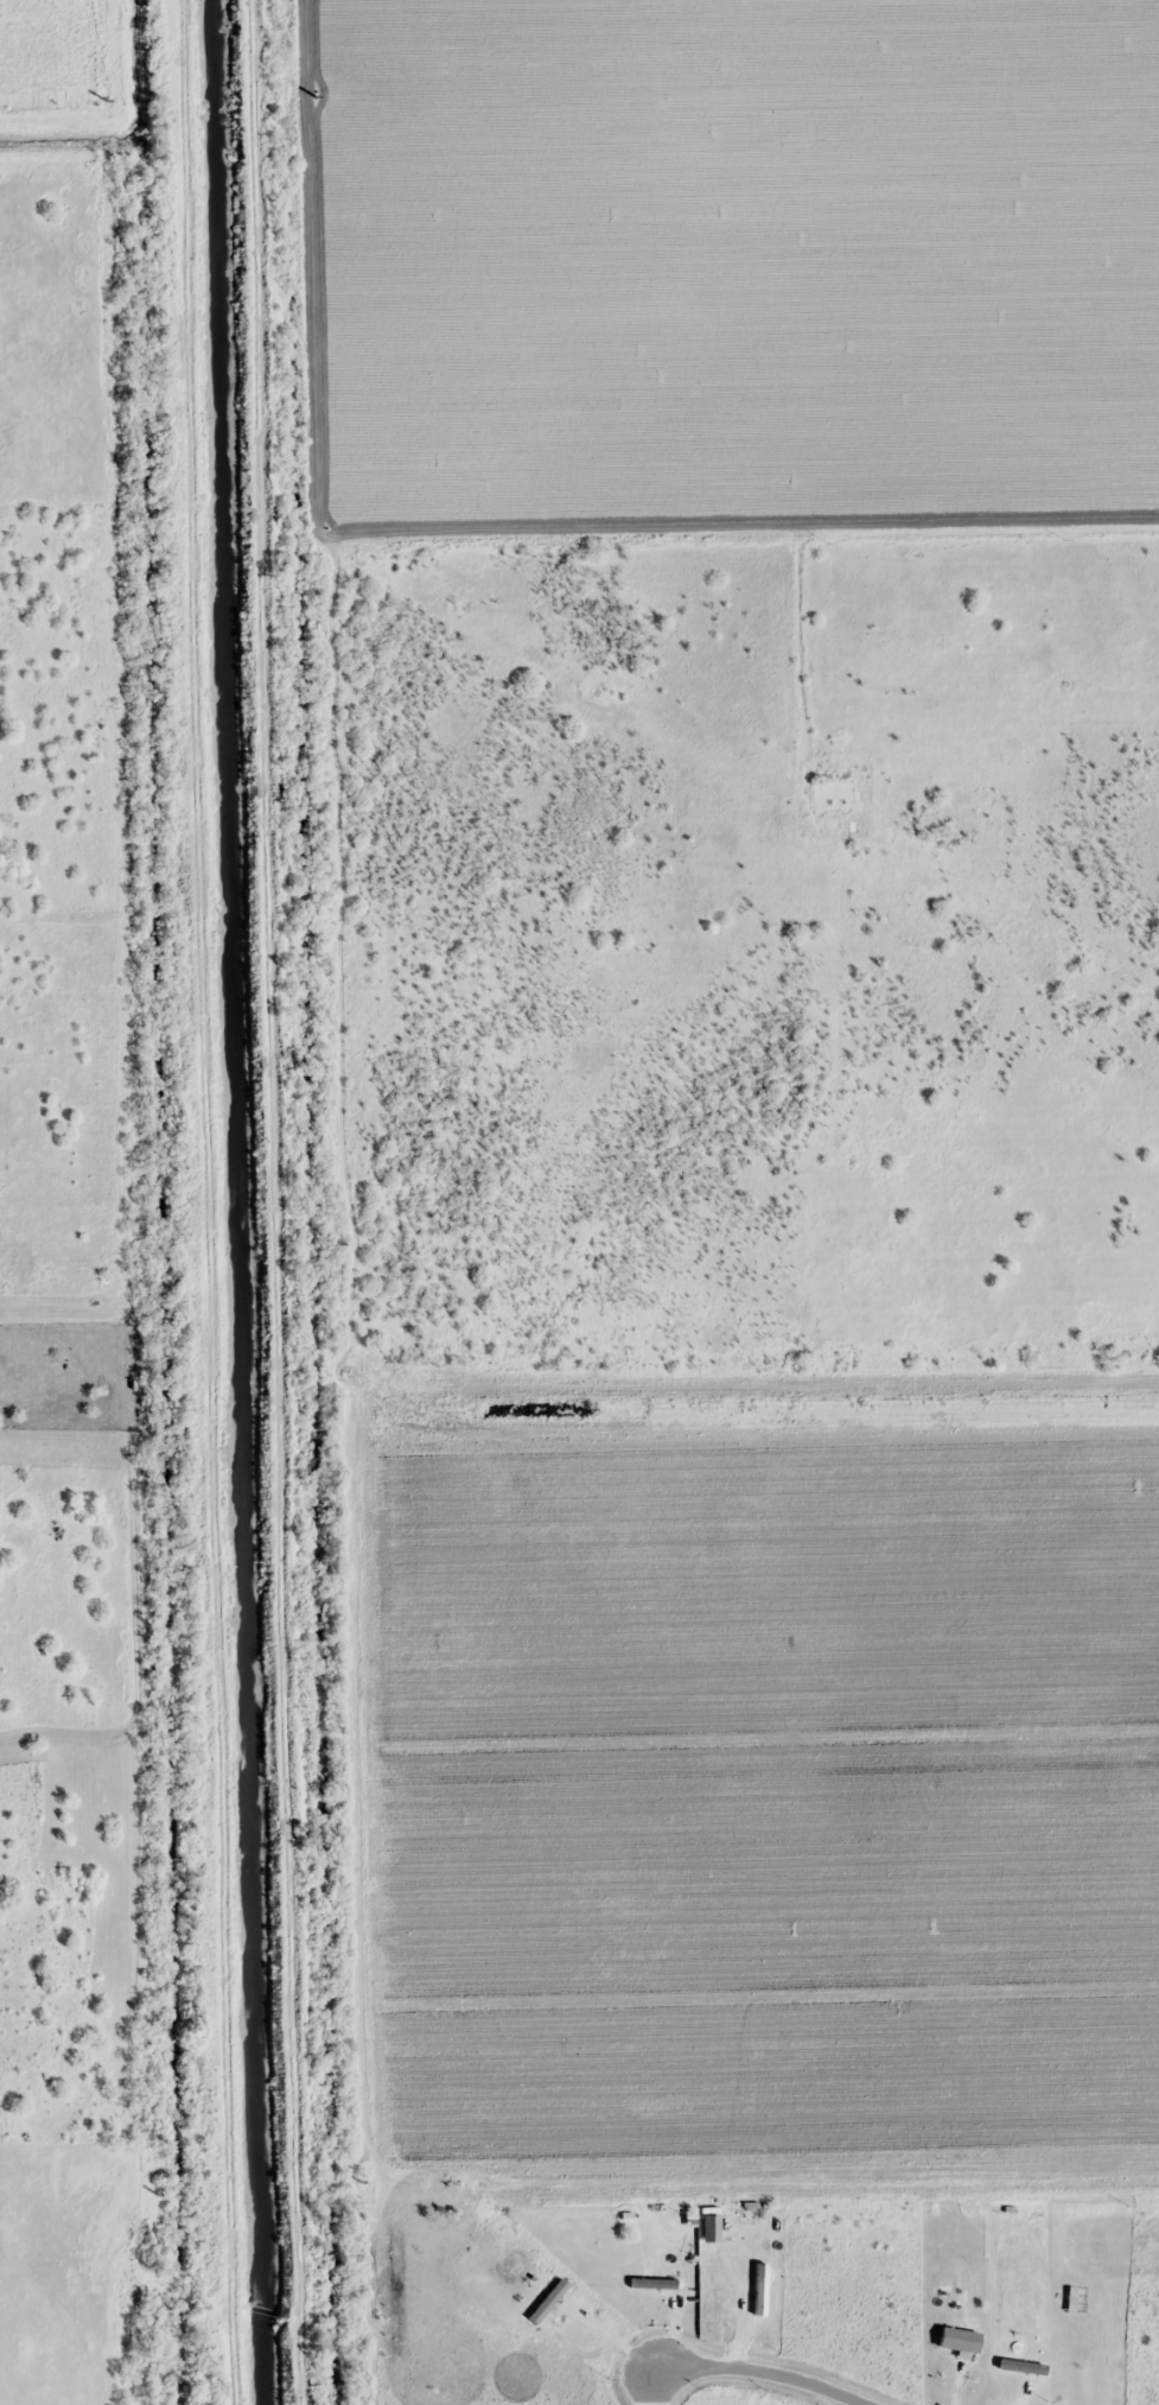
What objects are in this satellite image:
road: (884, 531)
building: (833, 791)

